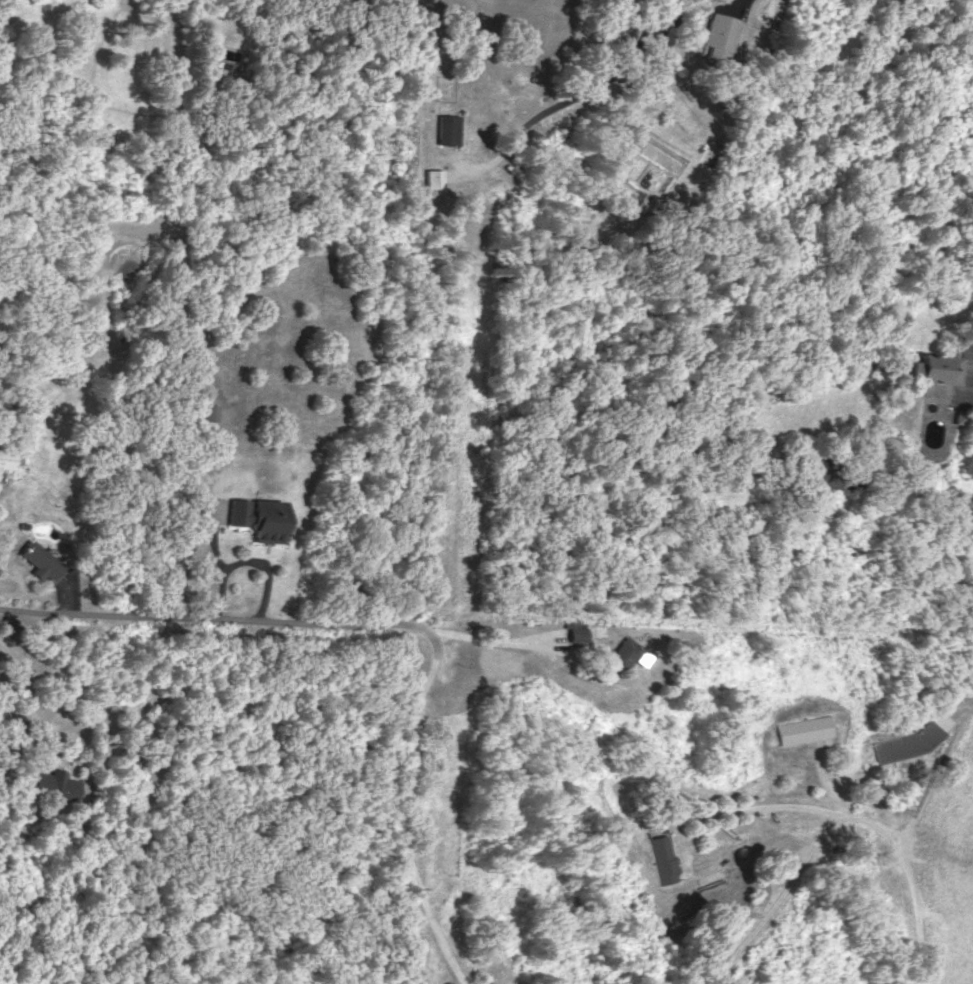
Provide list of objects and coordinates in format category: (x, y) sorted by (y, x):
building: (718, 35)
building: (448, 127)
road: (584, 128)
building: (433, 177)
building: (932, 367)
building: (955, 415)
building: (6, 457)
building: (257, 516)
building: (39, 560)
road: (9, 611)
road: (411, 625)
building: (575, 630)
road: (491, 640)
road: (30, 692)
building: (801, 729)
building: (911, 737)
road: (928, 773)
building: (56, 784)
road: (766, 809)
road: (830, 822)
building: (663, 858)

